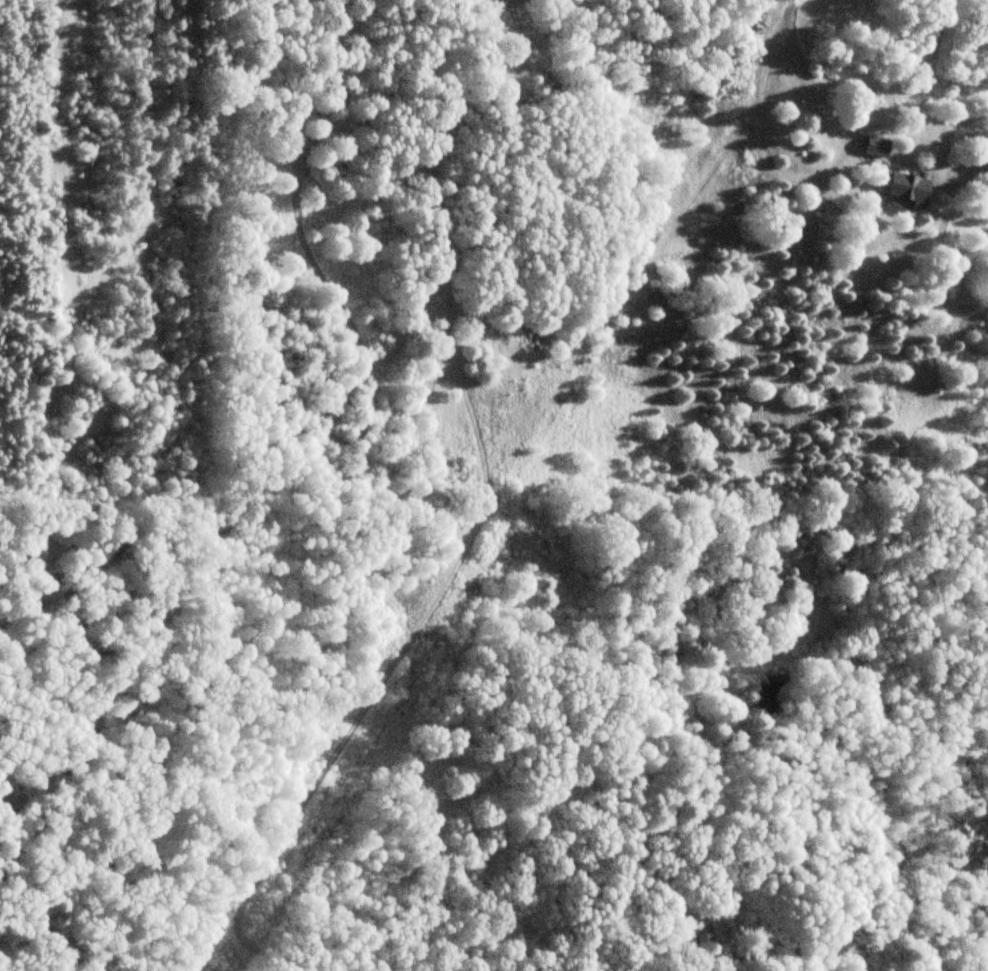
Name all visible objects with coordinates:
road: (795, 8)
building: (860, 95)
building: (876, 146)
road: (810, 175)
building: (909, 188)

